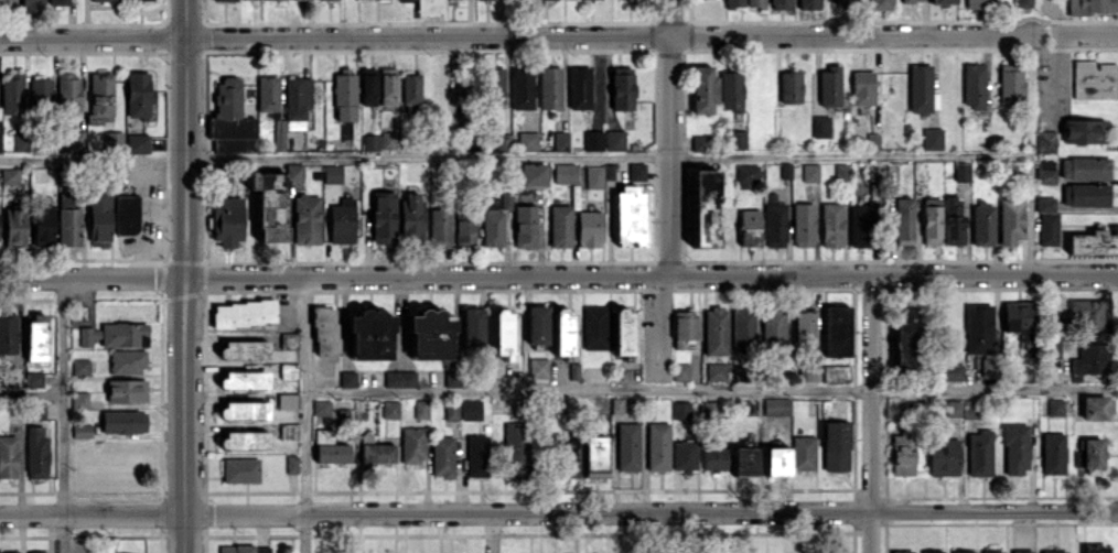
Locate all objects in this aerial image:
building: (7, 0)
building: (106, 0)
building: (223, 0)
building: (912, 0)
building: (845, 1)
building: (942, 1)
building: (57, 2)
building: (733, 2)
building: (755, 3)
building: (781, 3)
building: (808, 3)
building: (977, 3)
building: (1022, 3)
building: (880, 4)
building: (32, 6)
building: (1092, 7)
road: (1086, 32)
road: (849, 33)
road: (334, 35)
building: (1094, 79)
building: (1010, 84)
building: (974, 85)
building: (367, 86)
building: (387, 86)
building: (497, 86)
building: (829, 86)
building: (522, 87)
building: (549, 87)
building: (579, 87)
building: (789, 87)
building: (862, 87)
building: (622, 88)
building: (702, 88)
building: (920, 88)
building: (40, 89)
building: (731, 90)
building: (68, 91)
building: (12, 94)
building: (100, 94)
building: (138, 94)
building: (344, 95)
building: (293, 108)
building: (230, 117)
building: (820, 126)
building: (1084, 130)
road: (669, 135)
building: (0, 137)
building: (932, 138)
building: (614, 139)
building: (737, 139)
building: (75, 140)
building: (111, 140)
building: (527, 140)
building: (561, 140)
building: (593, 140)
building: (19, 141)
building: (378, 141)
building: (1045, 141)
building: (700, 142)
building: (137, 143)
road: (514, 156)
building: (1084, 167)
building: (636, 171)
building: (961, 171)
building: (563, 172)
building: (809, 172)
building: (840, 172)
building: (332, 173)
building: (533, 173)
building: (9, 175)
building: (1043, 175)
building: (593, 176)
building: (749, 176)
building: (1085, 194)
building: (505, 199)
building: (272, 200)
building: (1044, 204)
building: (703, 208)
building: (126, 214)
building: (410, 214)
road: (1028, 214)
building: (630, 215)
building: (383, 216)
building: (99, 217)
building: (307, 218)
building: (954, 219)
building: (226, 220)
building: (903, 220)
building: (931, 220)
building: (1010, 220)
building: (68, 221)
building: (342, 221)
building: (774, 221)
building: (492, 223)
building: (43, 224)
building: (527, 224)
building: (803, 224)
building: (831, 224)
building: (982, 224)
building: (559, 225)
building: (860, 225)
building: (440, 227)
building: (749, 227)
building: (14, 228)
building: (589, 228)
building: (1049, 229)
building: (464, 232)
building: (1094, 241)
road: (558, 273)
road: (183, 275)
building: (243, 313)
building: (1090, 313)
building: (1018, 315)
building: (537, 324)
building: (594, 326)
building: (773, 326)
building: (472, 327)
building: (684, 327)
building: (742, 328)
building: (804, 328)
building: (978, 328)
building: (324, 329)
building: (714, 330)
building: (836, 330)
building: (562, 332)
building: (623, 332)
building: (502, 333)
building: (8, 334)
building: (116, 334)
building: (430, 334)
building: (369, 335)
building: (35, 337)
building: (905, 341)
building: (244, 349)
building: (1024, 354)
building: (1090, 359)
building: (127, 361)
building: (79, 366)
building: (538, 367)
building: (679, 371)
building: (716, 371)
building: (739, 371)
building: (809, 371)
building: (950, 372)
building: (836, 373)
building: (347, 378)
building: (399, 378)
building: (451, 378)
building: (33, 379)
building: (244, 380)
road: (30, 390)
building: (126, 390)
road: (710, 392)
building: (79, 400)
building: (776, 405)
building: (321, 406)
building: (748, 406)
building: (1055, 406)
building: (420, 408)
building: (1094, 408)
building: (390, 409)
building: (471, 409)
building: (954, 409)
building: (244, 410)
building: (450, 410)
building: (680, 410)
building: (37, 412)
road: (870, 412)
road: (60, 414)
road: (303, 414)
building: (122, 421)
building: (82, 430)
building: (244, 440)
building: (412, 444)
building: (836, 445)
building: (627, 446)
building: (657, 446)
building: (1014, 448)
building: (515, 449)
building: (36, 452)
building: (331, 452)
building: (803, 452)
building: (902, 452)
building: (377, 453)
building: (979, 453)
building: (1053, 453)
building: (1088, 453)
building: (476, 455)
building: (684, 455)
building: (8, 456)
building: (442, 456)
building: (594, 456)
building: (943, 456)
building: (568, 458)
building: (713, 458)
building: (743, 460)
building: (776, 460)
building: (291, 464)
building: (240, 469)
road: (558, 512)
building: (244, 549)
building: (1095, 549)
building: (902, 551)
building: (932, 551)
building: (961, 551)
building: (991, 551)
building: (1021, 551)
building: (1053, 551)
building: (9, 552)
building: (36, 552)

